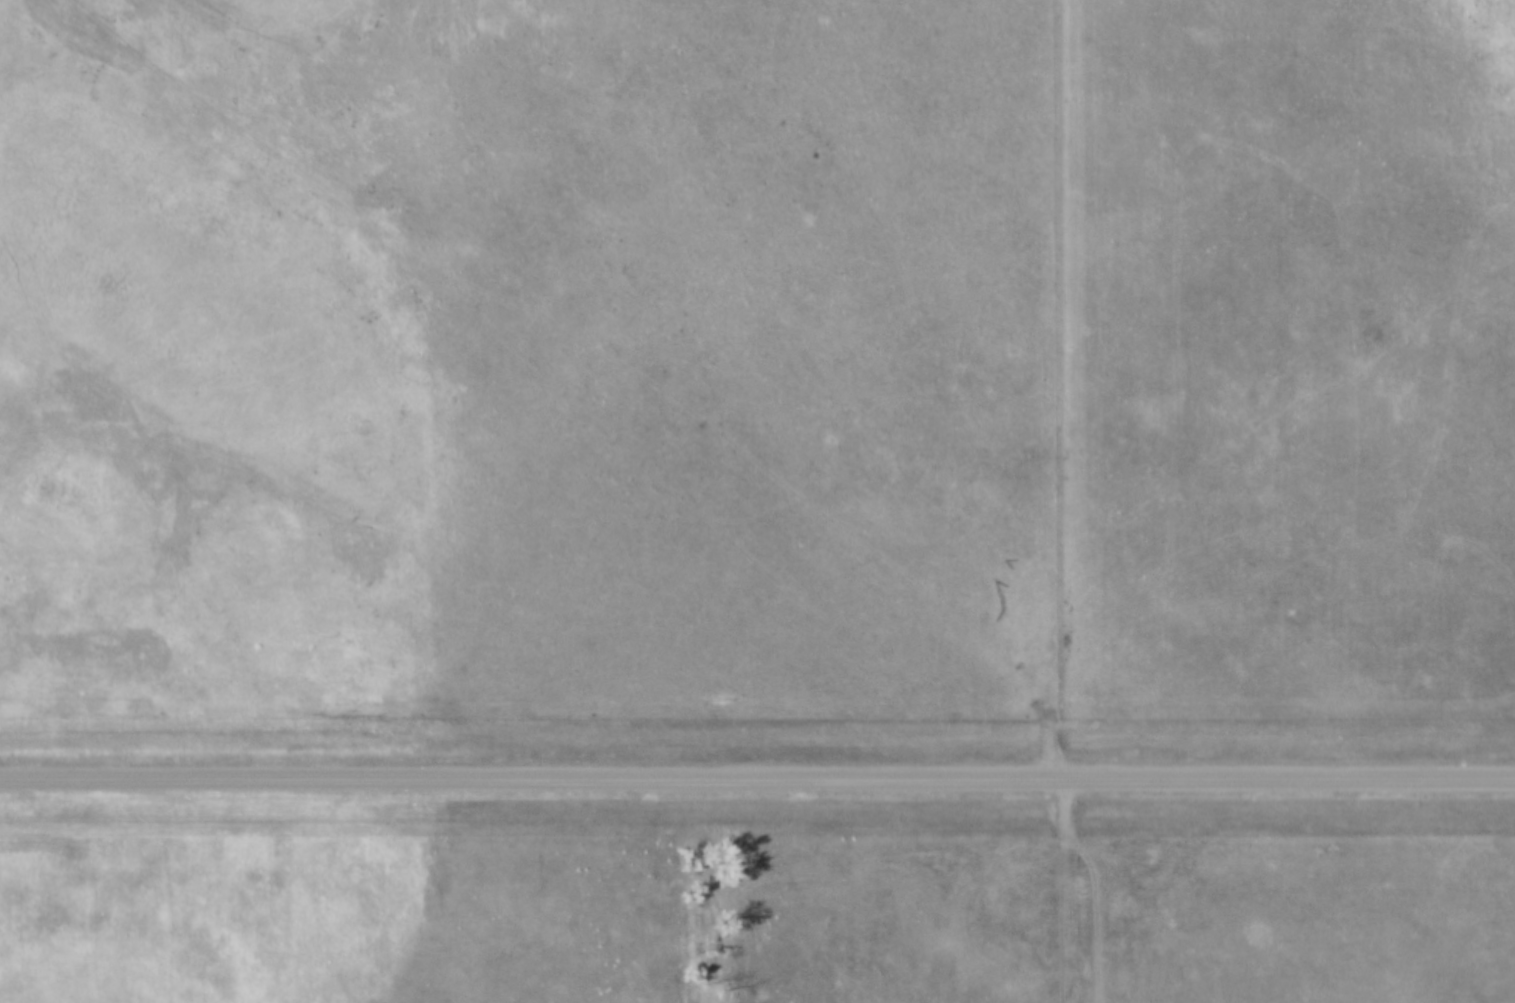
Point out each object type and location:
road: (757, 772)
road: (1091, 883)

